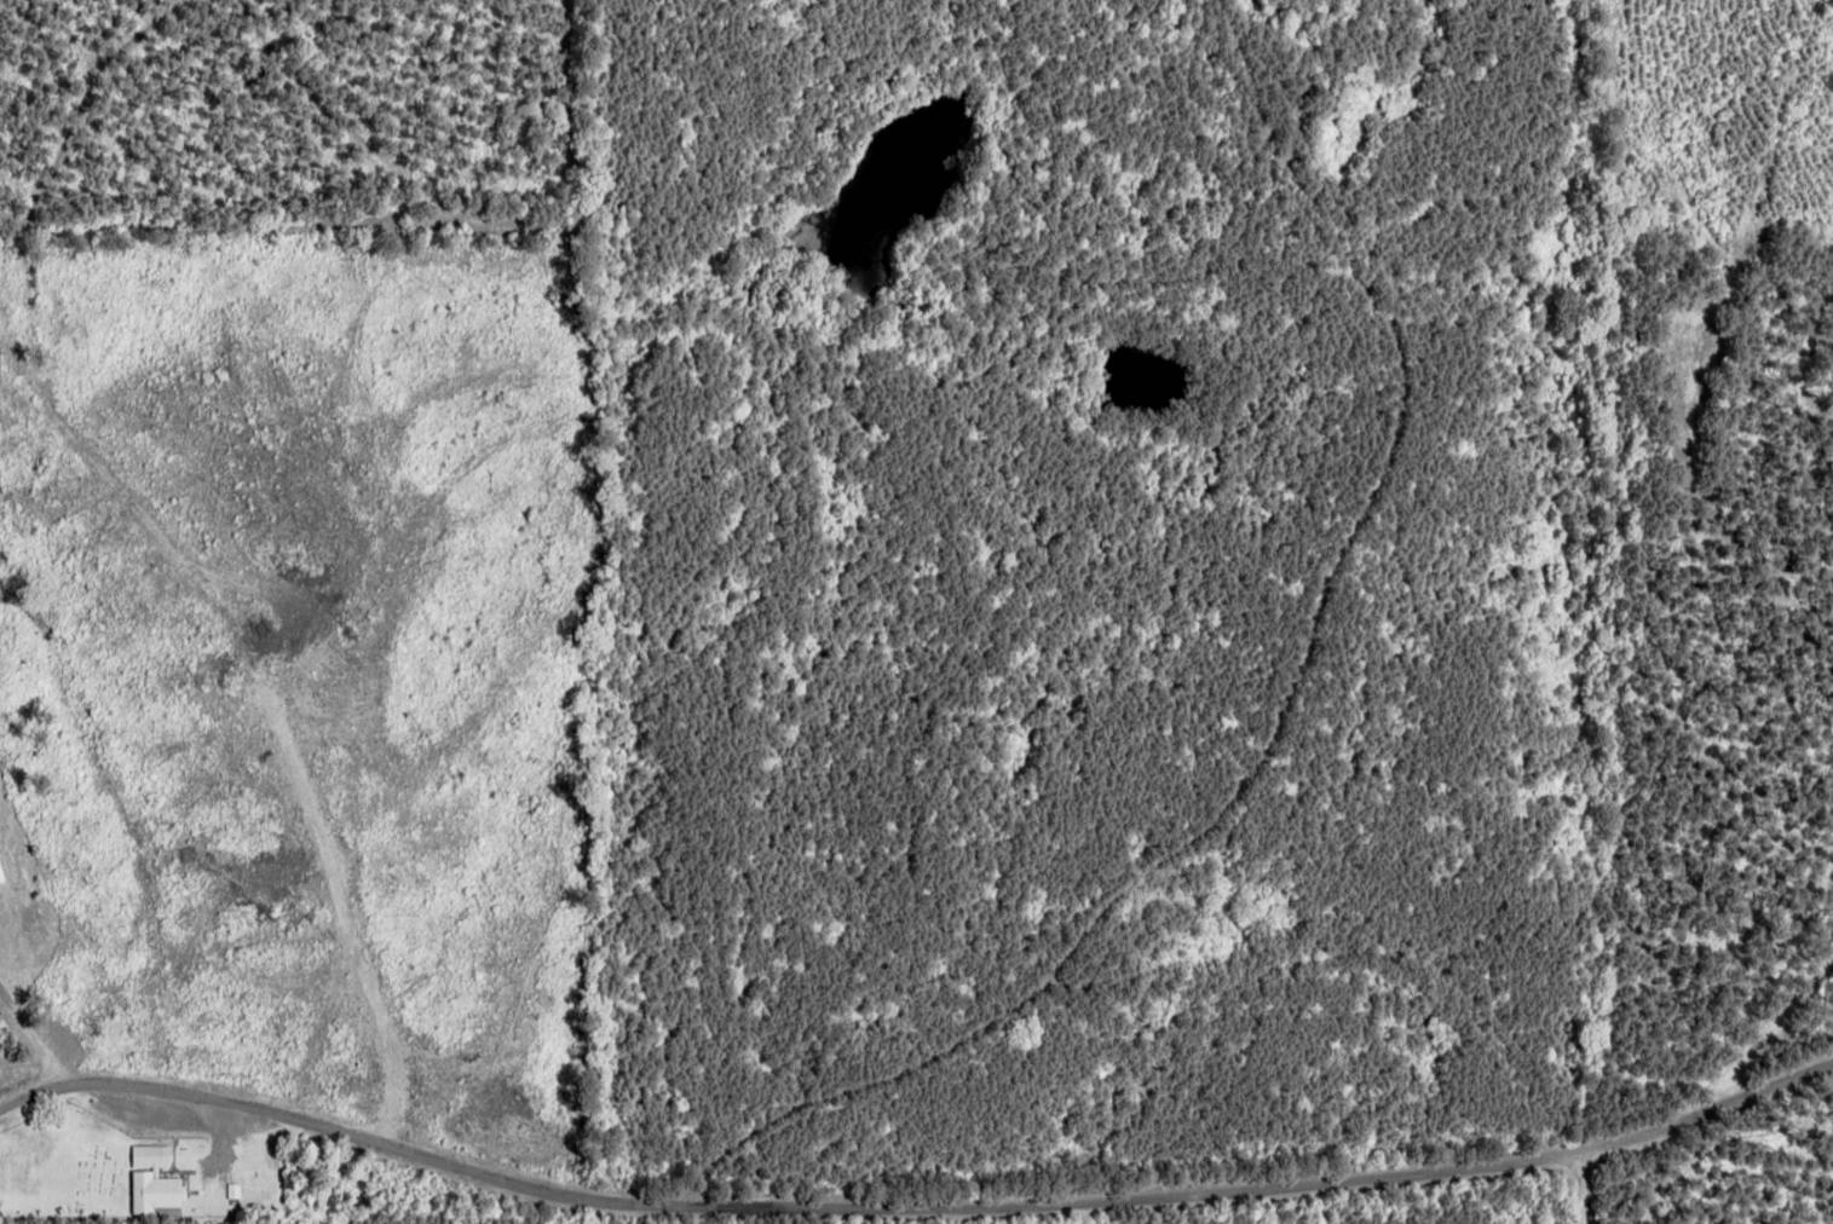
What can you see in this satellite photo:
building: (0, 877)
road: (287, 1154)
building: (152, 1180)
road: (1411, 1193)
road: (1580, 1199)

